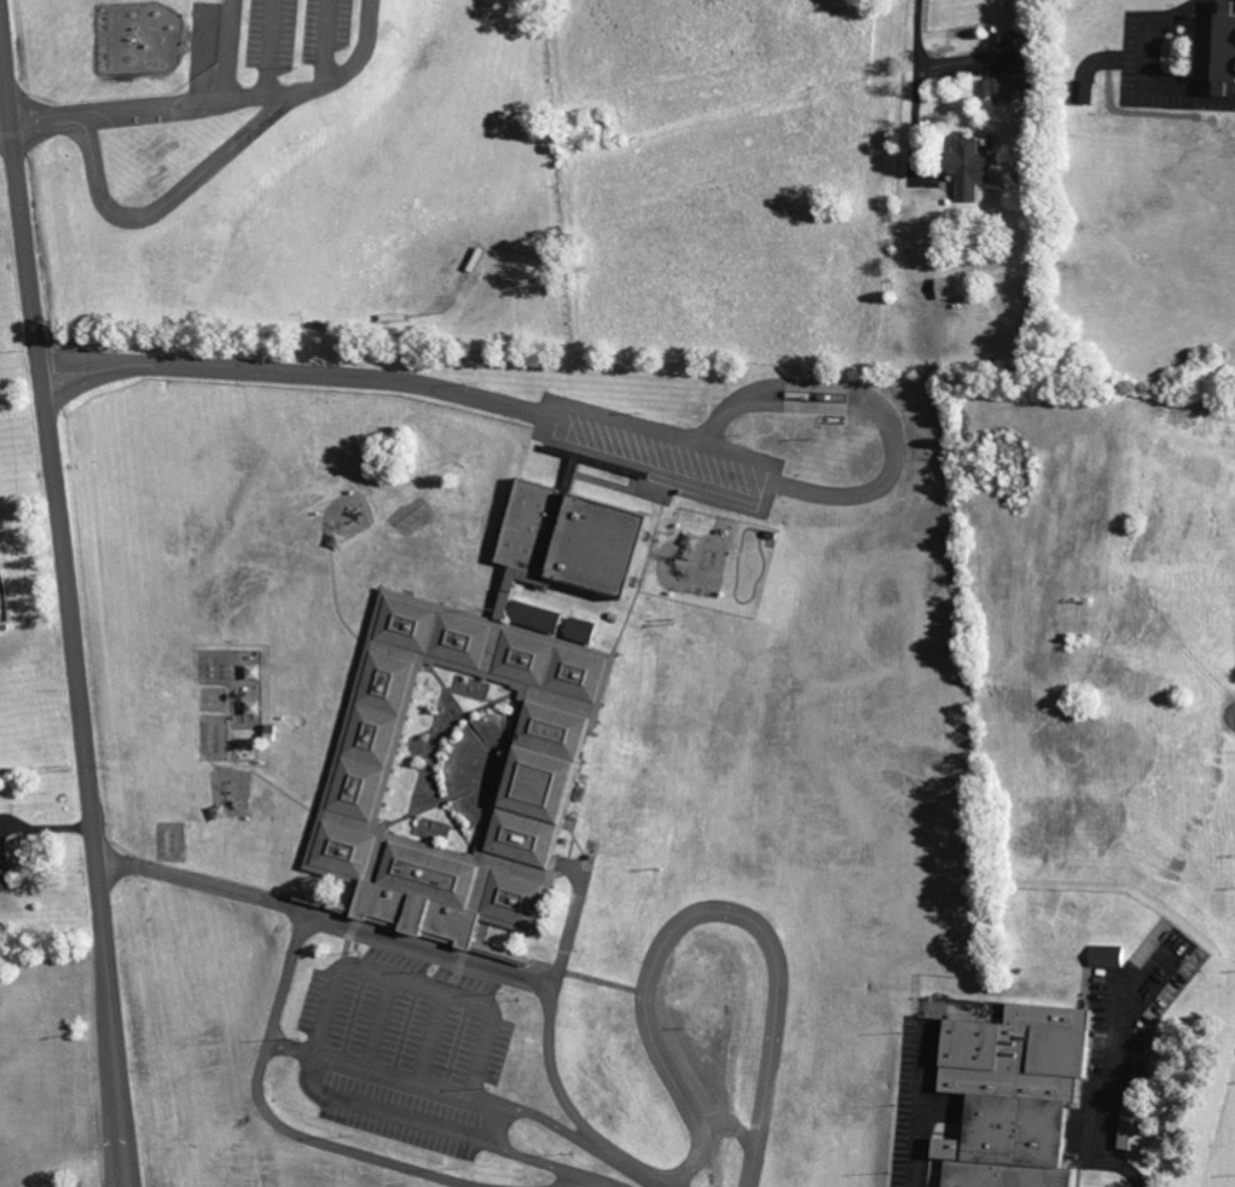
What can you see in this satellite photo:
road: (921, 41)
building: (1220, 48)
building: (1016, 86)
road: (278, 92)
building: (1086, 92)
road: (114, 111)
building: (974, 168)
road: (170, 201)
building: (951, 288)
road: (1207, 319)
road: (297, 374)
building: (564, 554)
building: (418, 580)
road: (73, 592)
building: (587, 630)
building: (556, 749)
building: (7, 870)
building: (347, 908)
road: (713, 913)
building: (1112, 957)
road: (517, 973)
road: (282, 995)
building: (1020, 1095)
road: (922, 1108)
road: (390, 1116)
road: (561, 1127)
road: (505, 1128)
building: (1140, 1130)
road: (331, 1141)
road: (1111, 1145)
road: (552, 1166)
road: (634, 1169)

